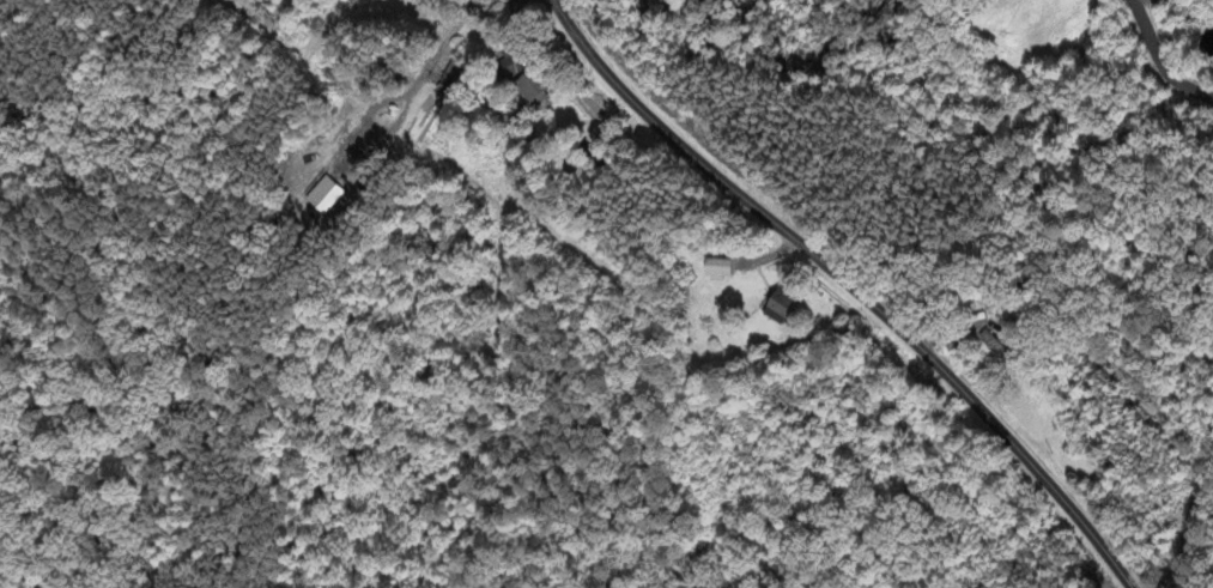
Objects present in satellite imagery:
road: (1162, 60)
building: (527, 90)
building: (322, 198)
building: (714, 271)
road: (853, 283)
building: (776, 307)

